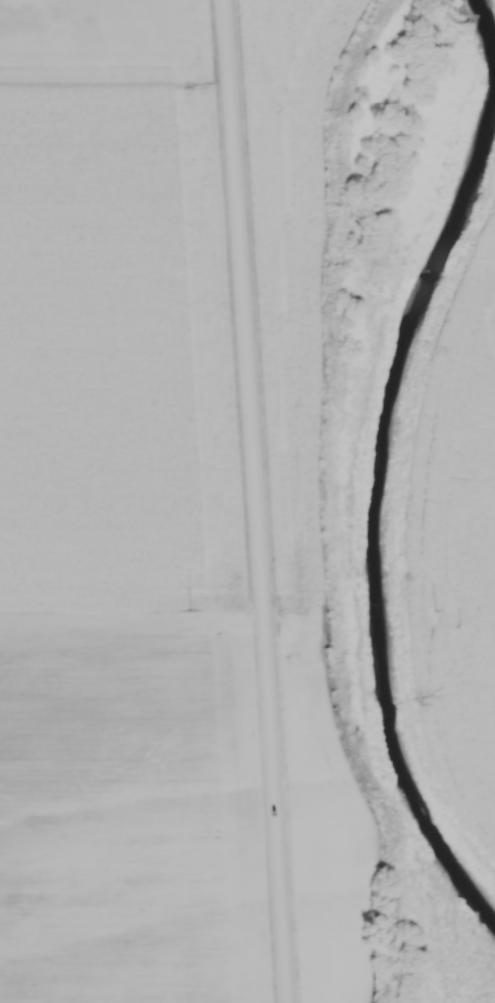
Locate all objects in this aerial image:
road: (256, 501)
river: (381, 517)
power tower: (193, 609)
power tower: (441, 609)

